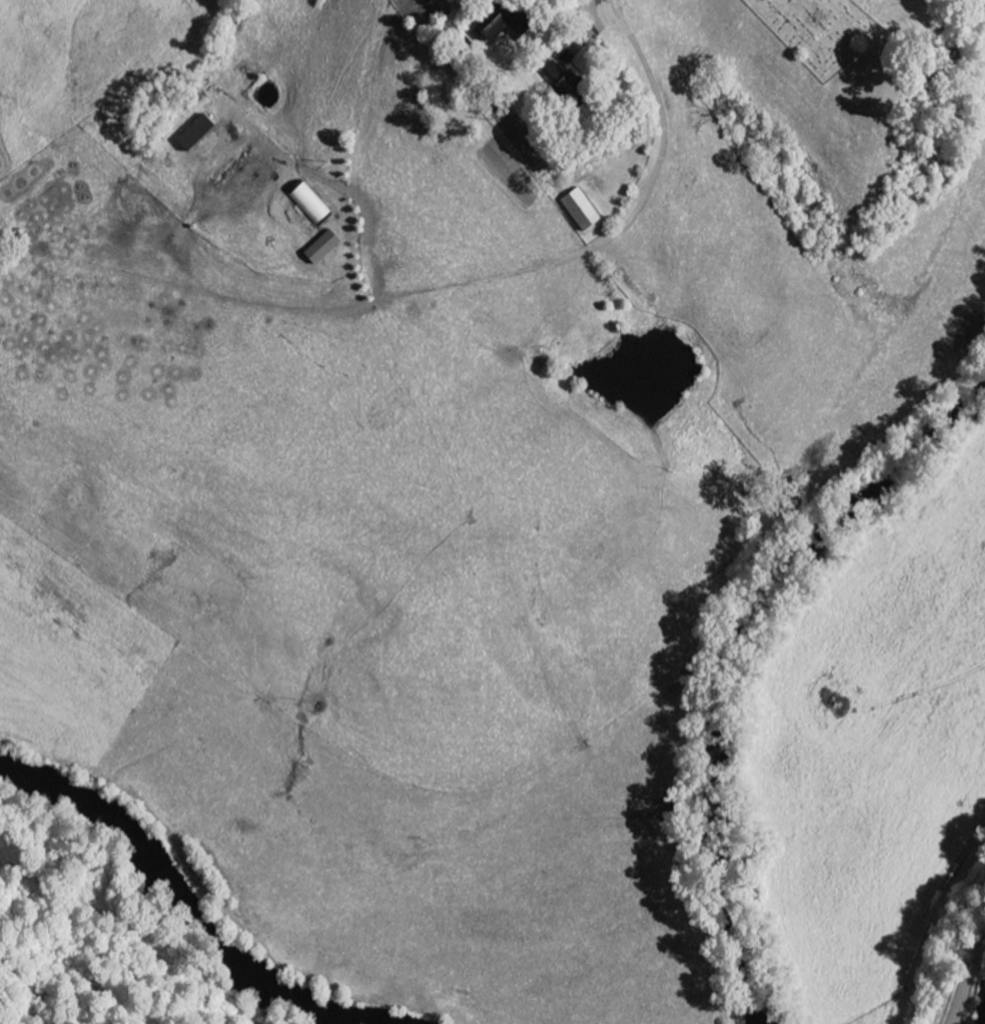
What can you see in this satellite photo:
park: (821, 32)
building: (201, 135)
building: (583, 211)
building: (326, 248)
river: (728, 652)
river: (192, 897)
road: (969, 963)

